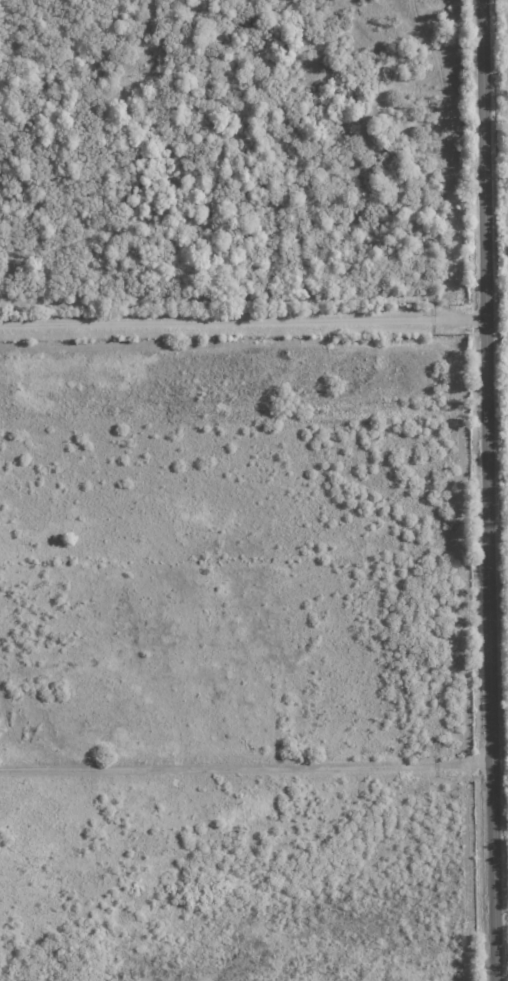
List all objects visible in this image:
road: (242, 322)
road: (486, 490)
road: (245, 765)

